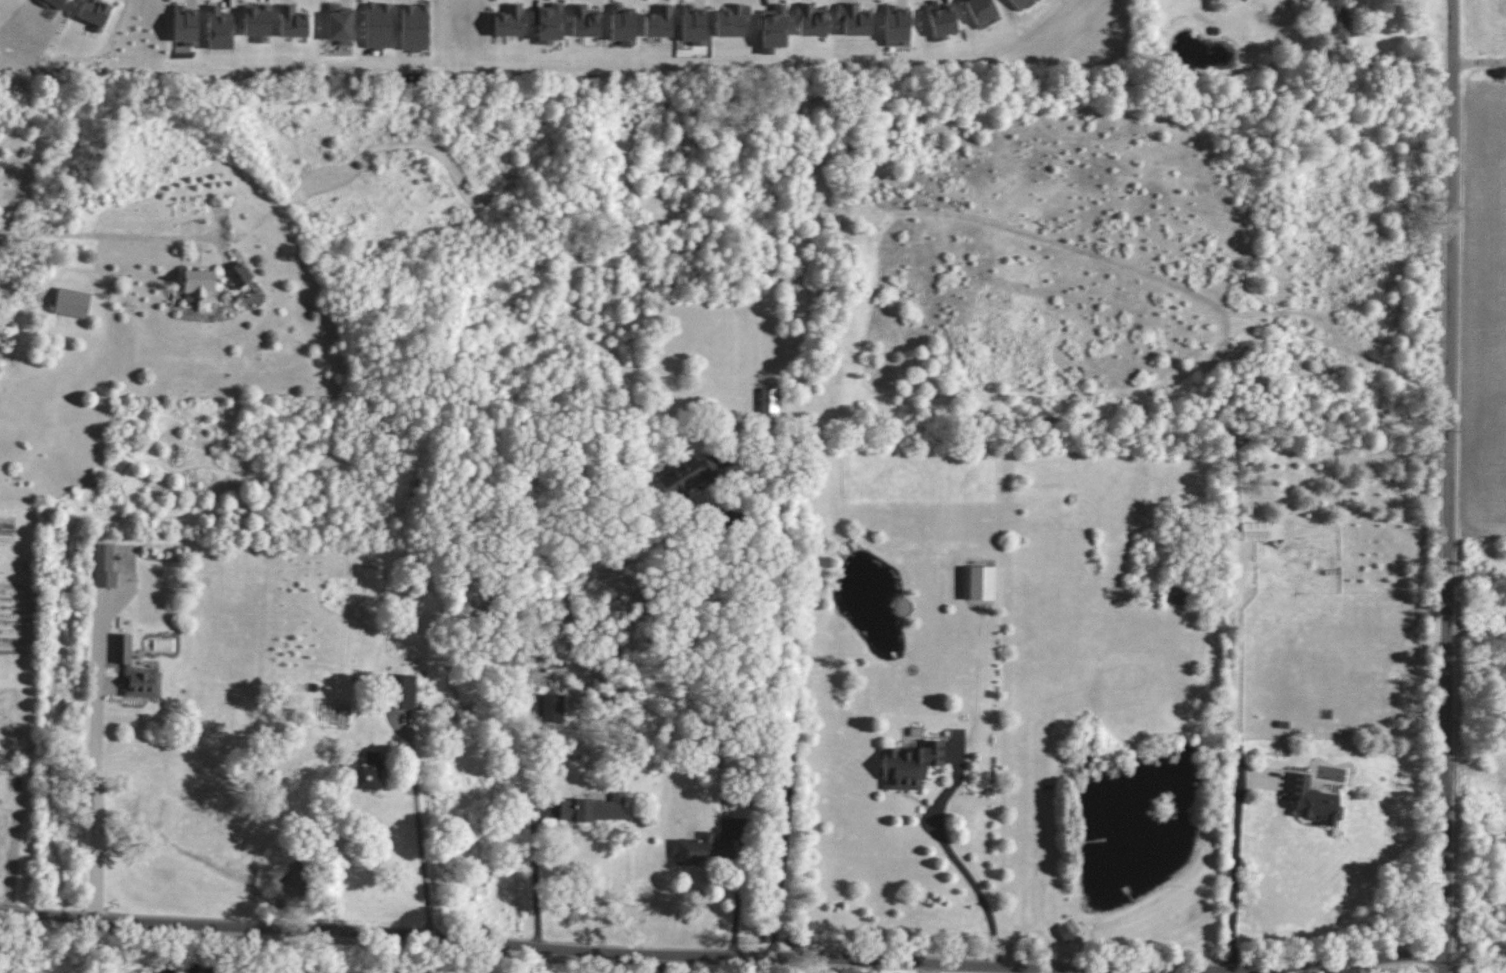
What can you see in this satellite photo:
building: (54, 4)
building: (1020, 4)
building: (981, 12)
building: (94, 13)
building: (1334, 17)
building: (732, 20)
building: (854, 20)
building: (941, 20)
building: (508, 21)
building: (585, 21)
building: (811, 21)
building: (257, 22)
building: (292, 22)
building: (658, 22)
building: (548, 23)
building: (339, 24)
building: (622, 24)
building: (693, 25)
building: (185, 26)
building: (378, 26)
building: (896, 26)
building: (414, 27)
building: (774, 27)
building: (219, 28)
road: (1479, 62)
road: (105, 235)
building: (238, 275)
building: (199, 283)
building: (71, 303)
building: (769, 402)
building: (686, 475)
road: (1449, 486)
building: (1260, 531)
building: (104, 566)
building: (978, 582)
building: (1176, 594)
building: (134, 670)
building: (405, 691)
road: (794, 701)
building: (550, 707)
road: (97, 761)
building: (910, 765)
building: (1314, 801)
building: (593, 808)
road: (419, 825)
road: (11, 844)
building: (705, 850)
road: (1234, 866)
road: (535, 869)
road: (975, 886)
road: (737, 896)
road: (722, 957)
road: (1184, 972)

